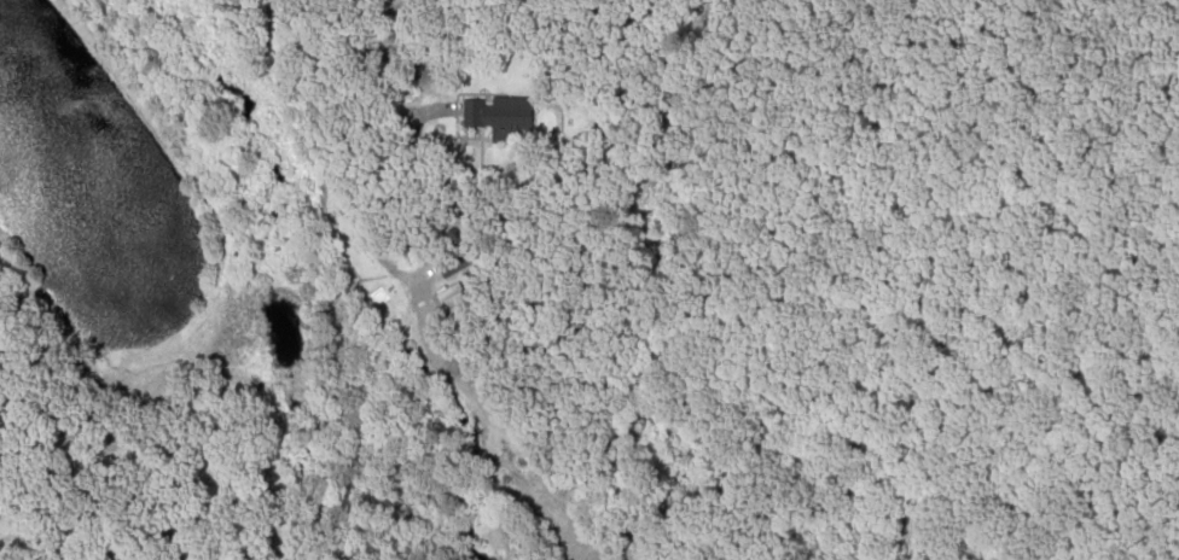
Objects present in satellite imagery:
building: (493, 121)
building: (449, 303)

